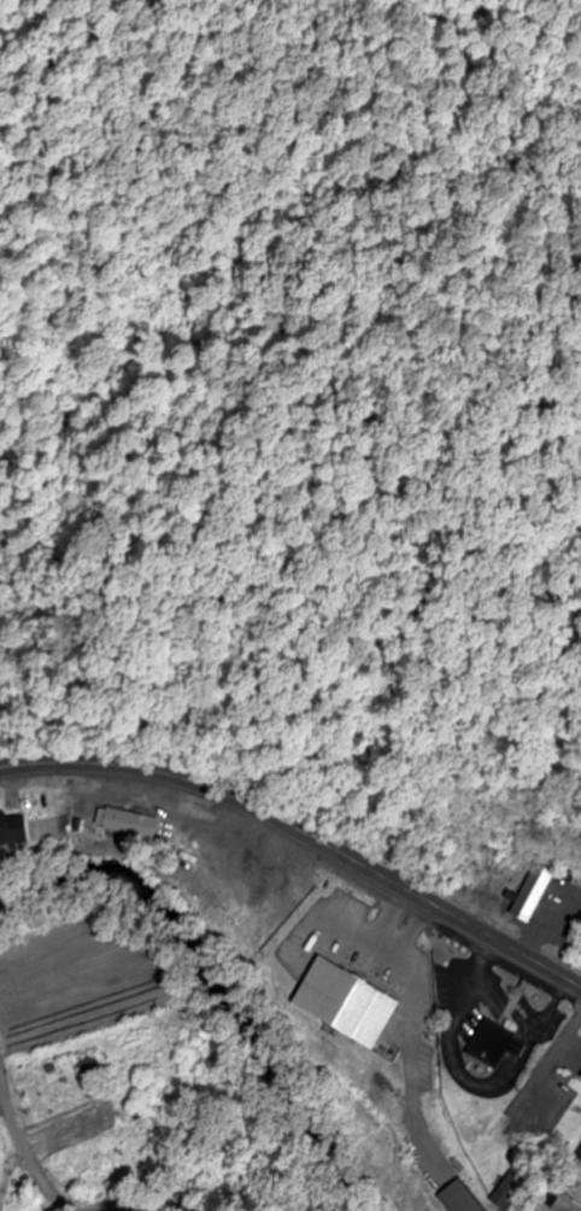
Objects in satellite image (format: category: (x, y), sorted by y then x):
building: (123, 825)
road: (304, 829)
building: (11, 830)
building: (529, 893)
river: (217, 977)
building: (488, 1041)
road: (557, 1046)
building: (86, 1076)
road: (468, 1076)
building: (579, 1080)
building: (577, 1158)
building: (505, 1192)
road: (55, 1197)
building: (456, 1198)

